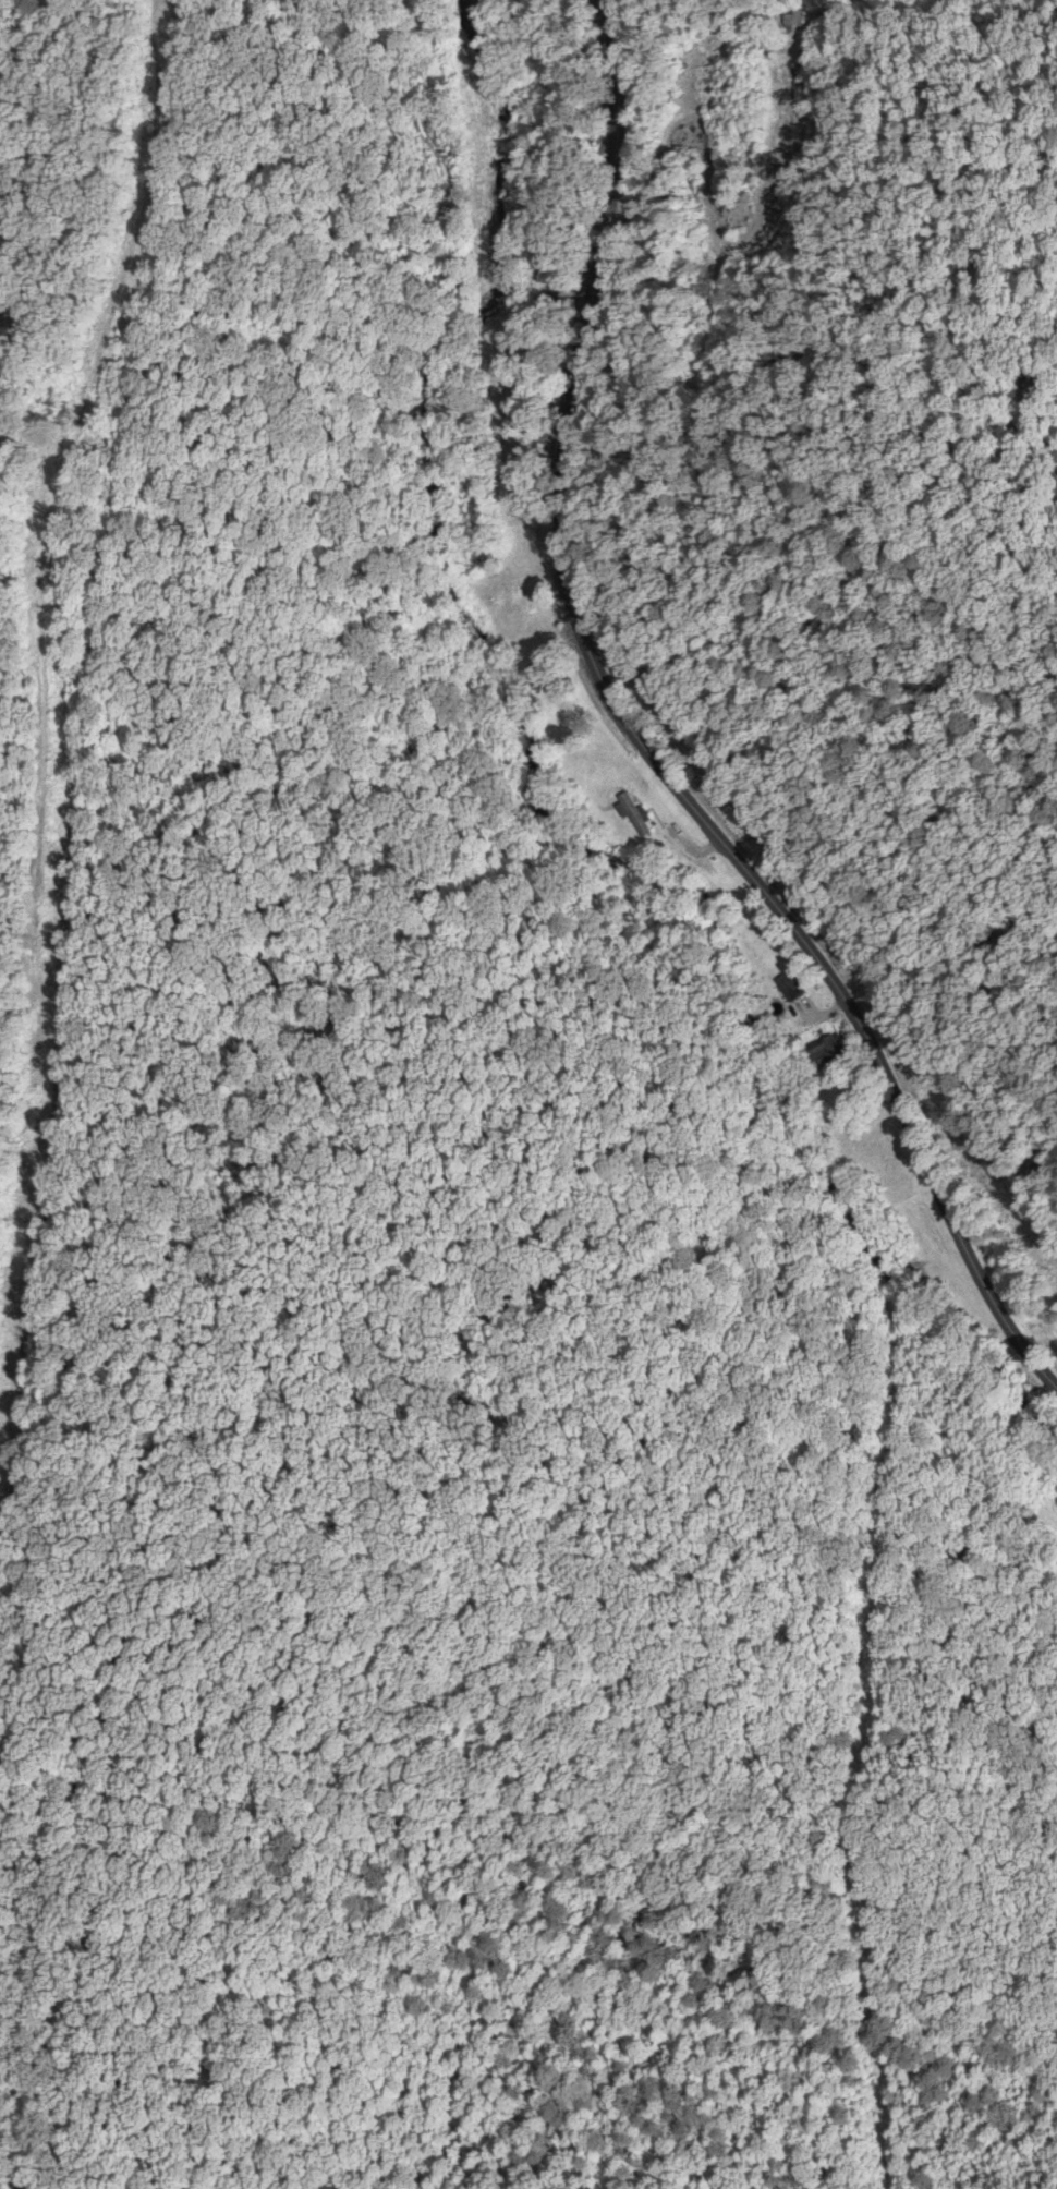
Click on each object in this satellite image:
building: (781, 137)
road: (642, 745)

